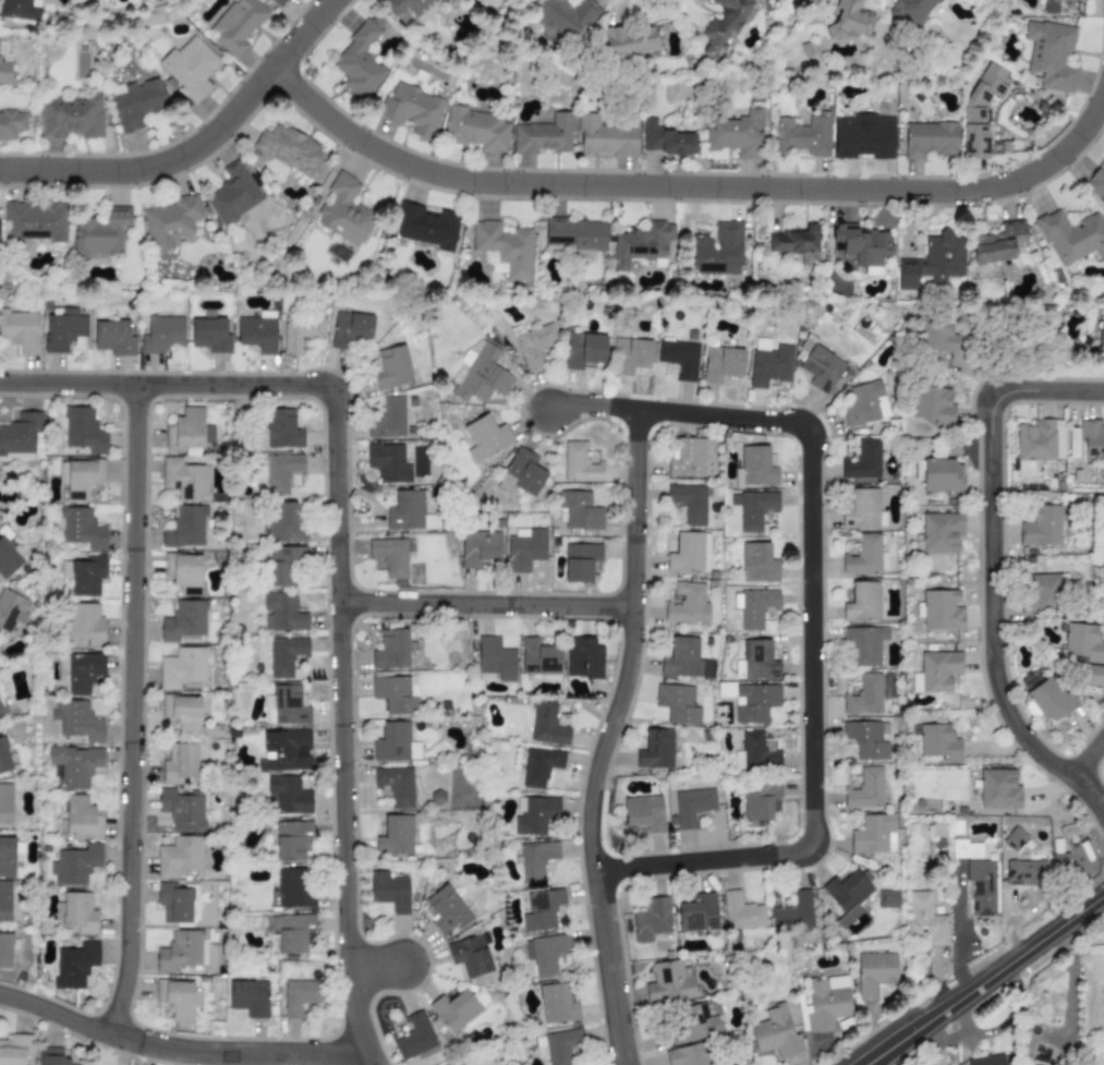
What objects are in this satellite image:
building: (470, 0)
building: (1066, 0)
building: (278, 2)
building: (20, 10)
building: (911, 11)
building: (563, 13)
building: (848, 20)
building: (236, 25)
building: (721, 28)
building: (628, 40)
building: (1050, 55)
building: (4, 61)
building: (359, 62)
building: (190, 66)
building: (136, 102)
building: (412, 109)
building: (979, 111)
building: (72, 118)
building: (11, 124)
building: (475, 130)
building: (736, 134)
building: (803, 135)
building: (544, 136)
building: (862, 136)
building: (604, 137)
building: (929, 140)
building: (666, 141)
road: (196, 147)
building: (289, 148)
building: (1096, 184)
road: (689, 186)
building: (232, 194)
building: (343, 210)
building: (35, 221)
building: (171, 221)
building: (426, 227)
building: (575, 234)
building: (1072, 237)
building: (998, 242)
building: (797, 243)
building: (862, 243)
building: (642, 244)
building: (505, 249)
building: (718, 251)
building: (338, 253)
building: (933, 263)
building: (20, 330)
building: (64, 330)
building: (350, 330)
building: (256, 334)
building: (300, 334)
building: (210, 335)
building: (935, 337)
building: (113, 338)
building: (1101, 338)
building: (534, 346)
building: (583, 350)
building: (630, 355)
building: (678, 360)
building: (721, 364)
building: (769, 364)
building: (821, 366)
building: (392, 368)
building: (481, 374)
road: (167, 386)
building: (865, 404)
building: (933, 406)
road: (593, 407)
building: (388, 420)
building: (282, 429)
building: (84, 431)
building: (190, 431)
building: (21, 434)
building: (485, 438)
building: (1039, 443)
building: (19, 457)
building: (388, 461)
building: (863, 461)
building: (580, 464)
building: (754, 468)
building: (282, 473)
building: (523, 473)
building: (942, 476)
building: (82, 480)
building: (195, 481)
building: (689, 504)
building: (752, 509)
building: (861, 509)
building: (407, 511)
building: (578, 511)
building: (430, 522)
building: (287, 523)
building: (187, 527)
building: (1041, 527)
building: (81, 528)
building: (941, 532)
building: (387, 547)
building: (480, 547)
building: (526, 549)
building: (689, 553)
building: (1103, 554)
building: (865, 557)
building: (8, 559)
building: (580, 561)
building: (283, 564)
building: (757, 564)
road: (994, 564)
building: (184, 572)
building: (84, 574)
building: (1041, 594)
building: (862, 603)
building: (687, 604)
road: (487, 606)
building: (753, 607)
building: (9, 610)
building: (942, 610)
building: (281, 613)
building: (183, 621)
building: (85, 624)
building: (1082, 642)
building: (862, 645)
building: (391, 650)
building: (286, 655)
building: (538, 658)
building: (583, 658)
building: (681, 658)
road: (812, 658)
building: (494, 661)
building: (756, 662)
building: (182, 668)
building: (936, 671)
building: (83, 673)
building: (1093, 676)
building: (396, 693)
building: (864, 695)
building: (1050, 700)
building: (755, 702)
building: (289, 704)
building: (677, 704)
building: (2, 709)
road: (133, 711)
building: (184, 715)
building: (76, 721)
building: (547, 725)
road: (343, 728)
road: (608, 737)
building: (866, 739)
building: (938, 742)
building: (395, 743)
building: (656, 750)
building: (284, 751)
building: (754, 751)
building: (3, 757)
road: (1090, 760)
building: (179, 763)
building: (74, 766)
building: (539, 766)
building: (396, 785)
building: (865, 789)
building: (998, 789)
building: (288, 795)
building: (761, 800)
building: (5, 803)
building: (692, 807)
building: (182, 809)
building: (642, 811)
building: (534, 815)
building: (81, 818)
building: (873, 835)
building: (395, 836)
building: (291, 839)
building: (1015, 839)
building: (966, 850)
building: (10, 855)
building: (179, 857)
building: (535, 860)
building: (1060, 862)
building: (74, 866)
building: (1024, 873)
building: (982, 886)
building: (291, 889)
building: (389, 892)
building: (847, 895)
building: (887, 899)
building: (5, 901)
building: (446, 910)
building: (542, 910)
building: (78, 912)
building: (741, 912)
building: (793, 912)
building: (697, 913)
building: (925, 919)
building: (651, 920)
building: (292, 932)
building: (5, 951)
building: (180, 951)
building: (545, 953)
building: (471, 956)
building: (74, 965)
road: (375, 968)
building: (874, 973)
road: (987, 980)
road: (1069, 982)
building: (668, 983)
building: (300, 996)
building: (175, 999)
building: (248, 999)
building: (826, 1003)
building: (556, 1004)
building: (454, 1009)
building: (692, 1022)
building: (775, 1033)
building: (414, 1037)
building: (558, 1045)
building: (15, 1049)
road: (181, 1050)
building: (687, 1055)
building: (53, 1056)
building: (987, 1060)
building: (451, 1064)
building: (1031, 1064)

